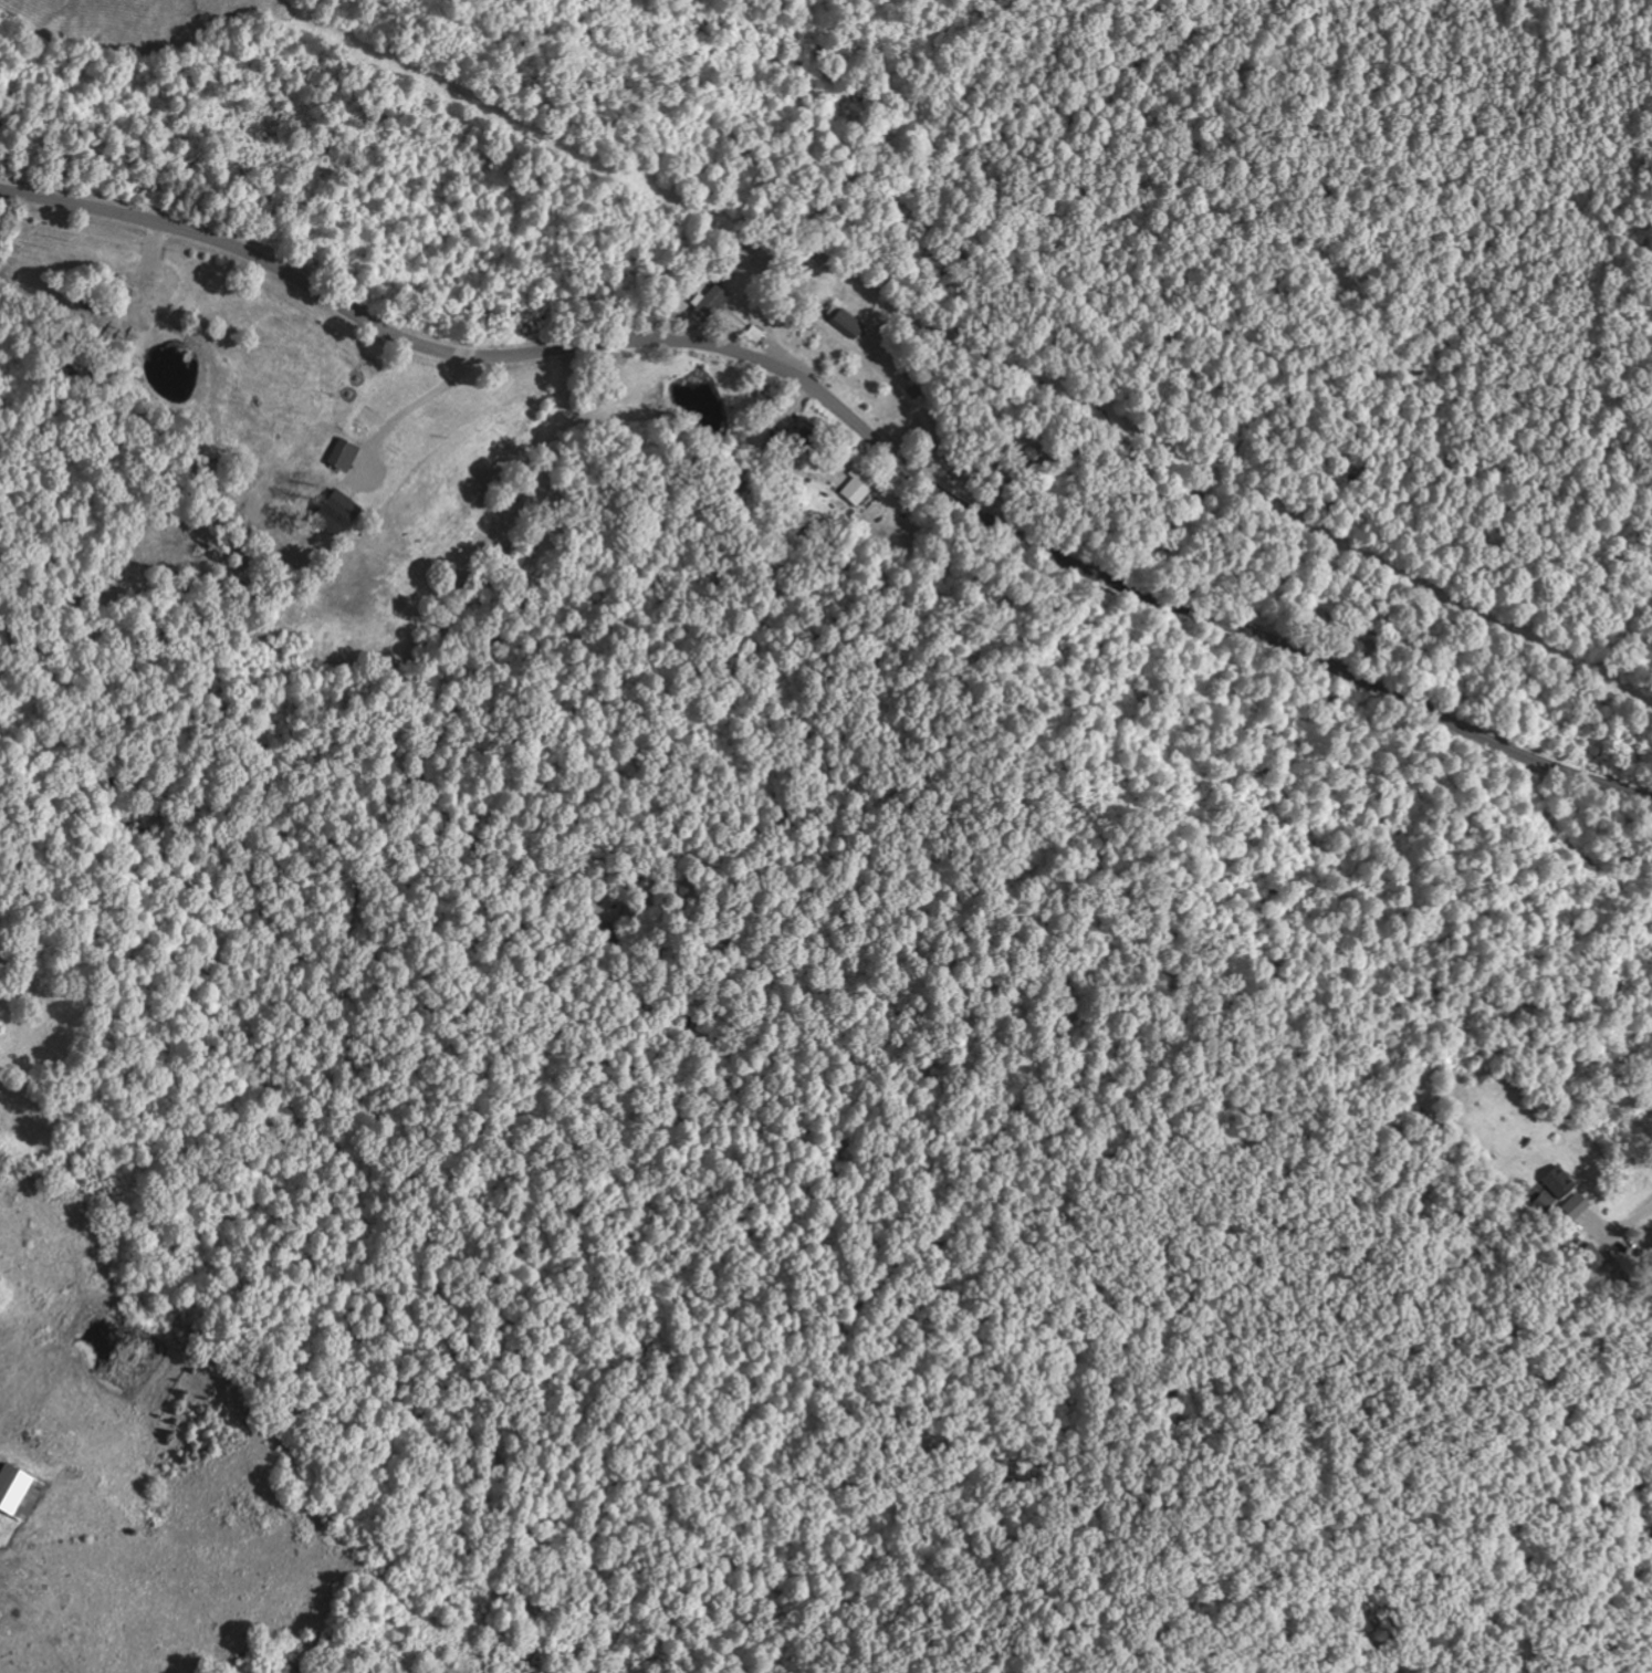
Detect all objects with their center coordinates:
building: (711, 301)
building: (848, 325)
road: (843, 419)
building: (808, 440)
building: (345, 454)
building: (860, 488)
building: (339, 514)
road: (1278, 1117)
building: (1560, 1183)
building: (1578, 1205)
building: (20, 1493)

